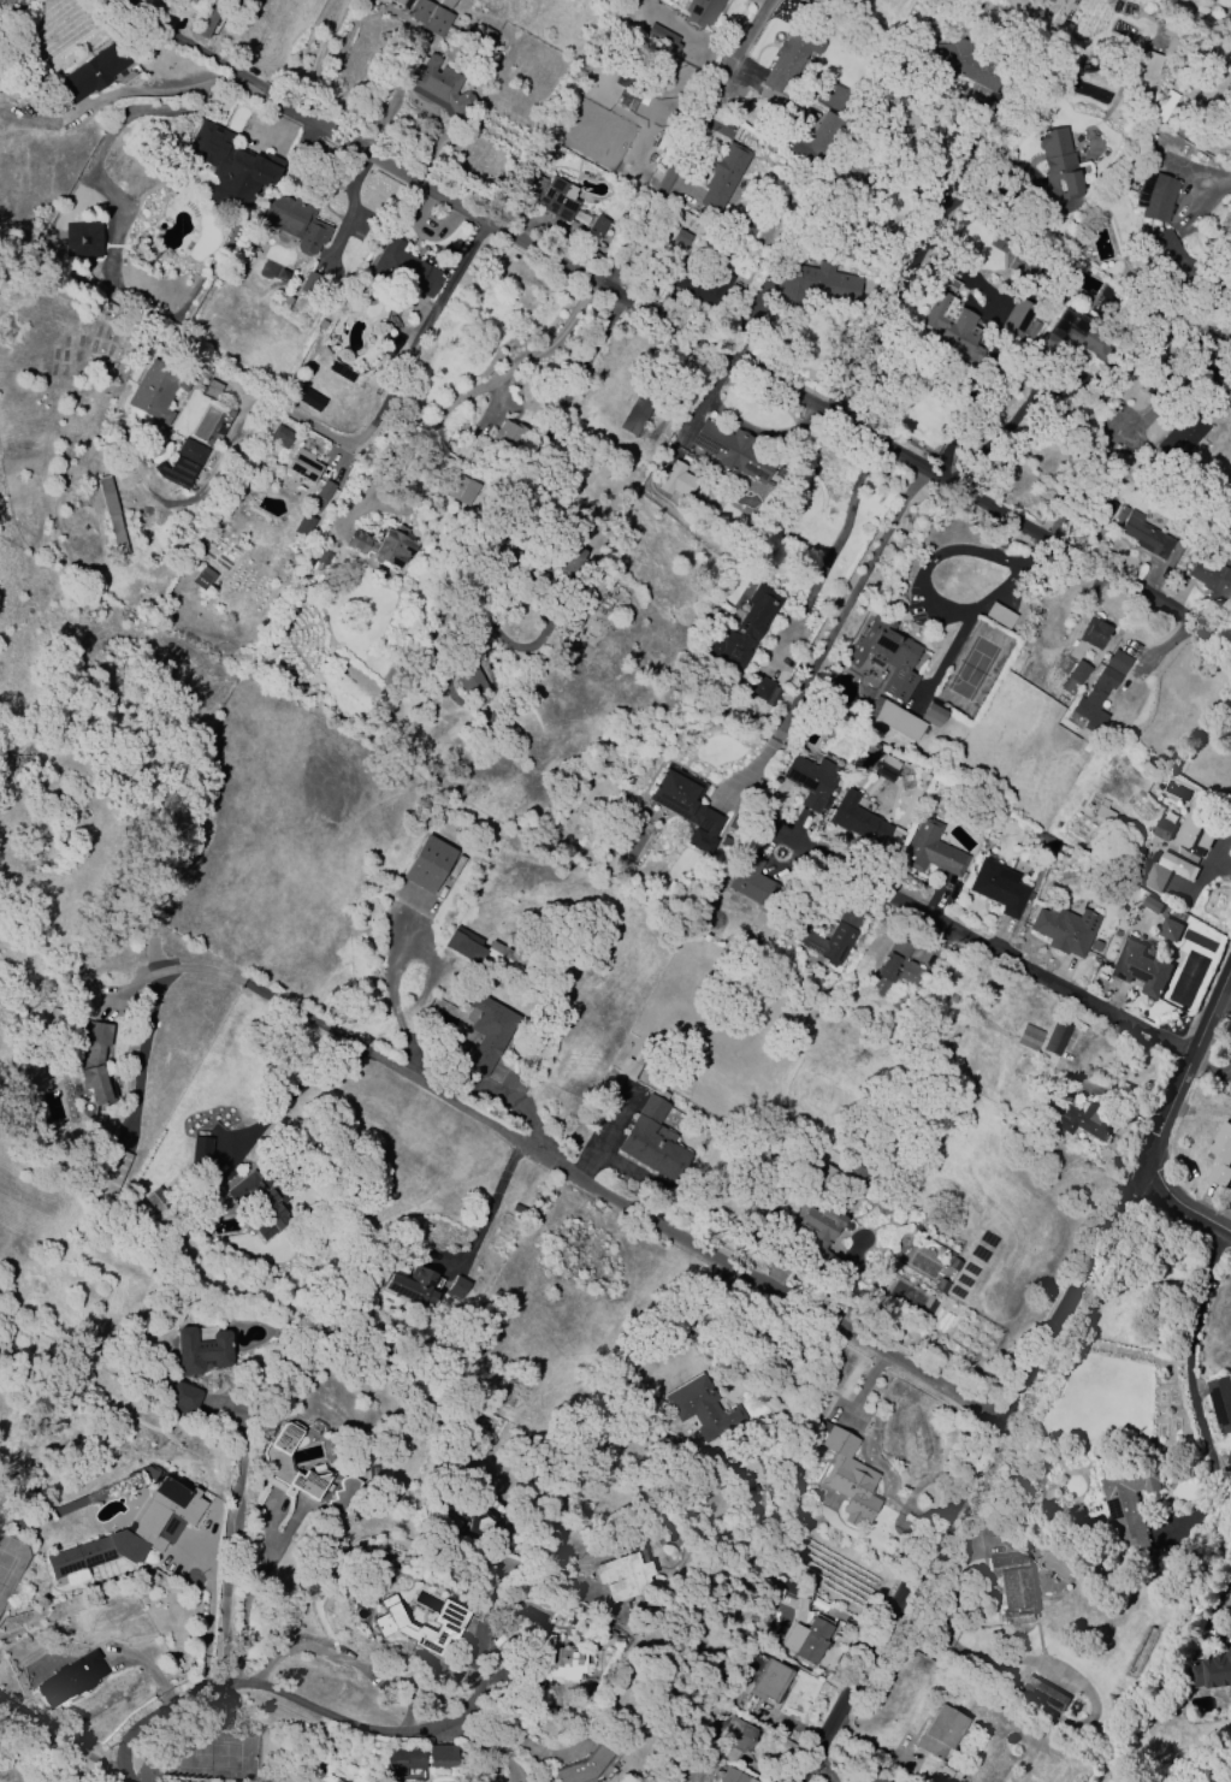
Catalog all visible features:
building: (446, 4)
building: (700, 11)
building: (430, 17)
building: (208, 23)
building: (661, 37)
road: (199, 49)
building: (1162, 52)
building: (789, 57)
road: (325, 59)
building: (957, 61)
building: (94, 71)
road: (191, 87)
building: (439, 87)
building: (633, 87)
building: (1164, 106)
road: (123, 118)
building: (815, 140)
road: (691, 148)
building: (1059, 165)
building: (231, 166)
building: (724, 177)
road: (1217, 182)
building: (546, 195)
building: (1155, 195)
building: (295, 221)
building: (596, 227)
building: (681, 237)
building: (83, 241)
building: (1166, 253)
building: (404, 268)
building: (1023, 268)
road: (909, 274)
building: (310, 283)
building: (702, 284)
building: (817, 285)
building: (284, 302)
building: (320, 324)
building: (953, 328)
building: (1031, 328)
building: (1072, 338)
road: (590, 356)
road: (403, 374)
road: (746, 375)
road: (486, 384)
building: (211, 389)
building: (156, 390)
building: (310, 399)
road: (967, 402)
road: (1022, 405)
building: (637, 412)
building: (509, 434)
building: (1182, 434)
building: (280, 437)
building: (733, 451)
building: (183, 463)
building: (302, 466)
building: (677, 482)
building: (462, 489)
building: (321, 496)
building: (111, 514)
building: (1119, 514)
building: (303, 525)
building: (1146, 535)
building: (383, 545)
road: (994, 556)
road: (1036, 556)
building: (322, 558)
building: (570, 560)
building: (1211, 576)
building: (202, 579)
road: (1017, 580)
road: (927, 586)
building: (999, 615)
building: (746, 628)
road: (834, 628)
building: (1094, 633)
building: (886, 656)
building: (1078, 671)
building: (470, 681)
building: (759, 687)
building: (1101, 691)
building: (933, 715)
building: (895, 718)
building: (887, 768)
building: (812, 781)
building: (686, 805)
building: (1102, 813)
building: (858, 819)
building: (734, 822)
building: (1195, 827)
building: (1162, 829)
building: (724, 841)
building: (931, 848)
building: (426, 863)
building: (1165, 871)
building: (754, 884)
building: (999, 887)
building: (1149, 905)
building: (1064, 929)
building: (1168, 930)
building: (831, 937)
road: (981, 941)
building: (483, 951)
building: (893, 967)
building: (1138, 969)
road: (329, 1026)
building: (487, 1029)
building: (888, 1030)
building: (1028, 1037)
building: (1055, 1037)
building: (94, 1062)
building: (628, 1068)
road: (307, 1082)
building: (1077, 1120)
building: (652, 1142)
building: (200, 1150)
building: (1220, 1154)
building: (112, 1170)
building: (158, 1200)
building: (259, 1203)
road: (495, 1206)
road: (1183, 1209)
building: (817, 1226)
road: (757, 1279)
building: (410, 1285)
building: (457, 1289)
road: (688, 1313)
road: (1186, 1346)
building: (201, 1350)
road: (1030, 1378)
building: (184, 1397)
building: (1220, 1402)
building: (703, 1409)
building: (1227, 1457)
building: (277, 1462)
building: (847, 1476)
building: (258, 1494)
building: (343, 1494)
building: (1129, 1506)
building: (483, 1526)
building: (132, 1531)
road: (226, 1535)
building: (623, 1576)
building: (1013, 1587)
road: (244, 1617)
building: (421, 1626)
building: (809, 1639)
building: (557, 1660)
building: (1212, 1671)
road: (478, 1675)
building: (70, 1679)
building: (769, 1681)
building: (1042, 1694)
road: (416, 1697)
road: (162, 1711)
building: (940, 1731)
building: (734, 1737)
road: (58, 1740)
road: (525, 1741)
building: (418, 1758)
building: (582, 1765)
building: (734, 1776)
building: (874, 1778)

